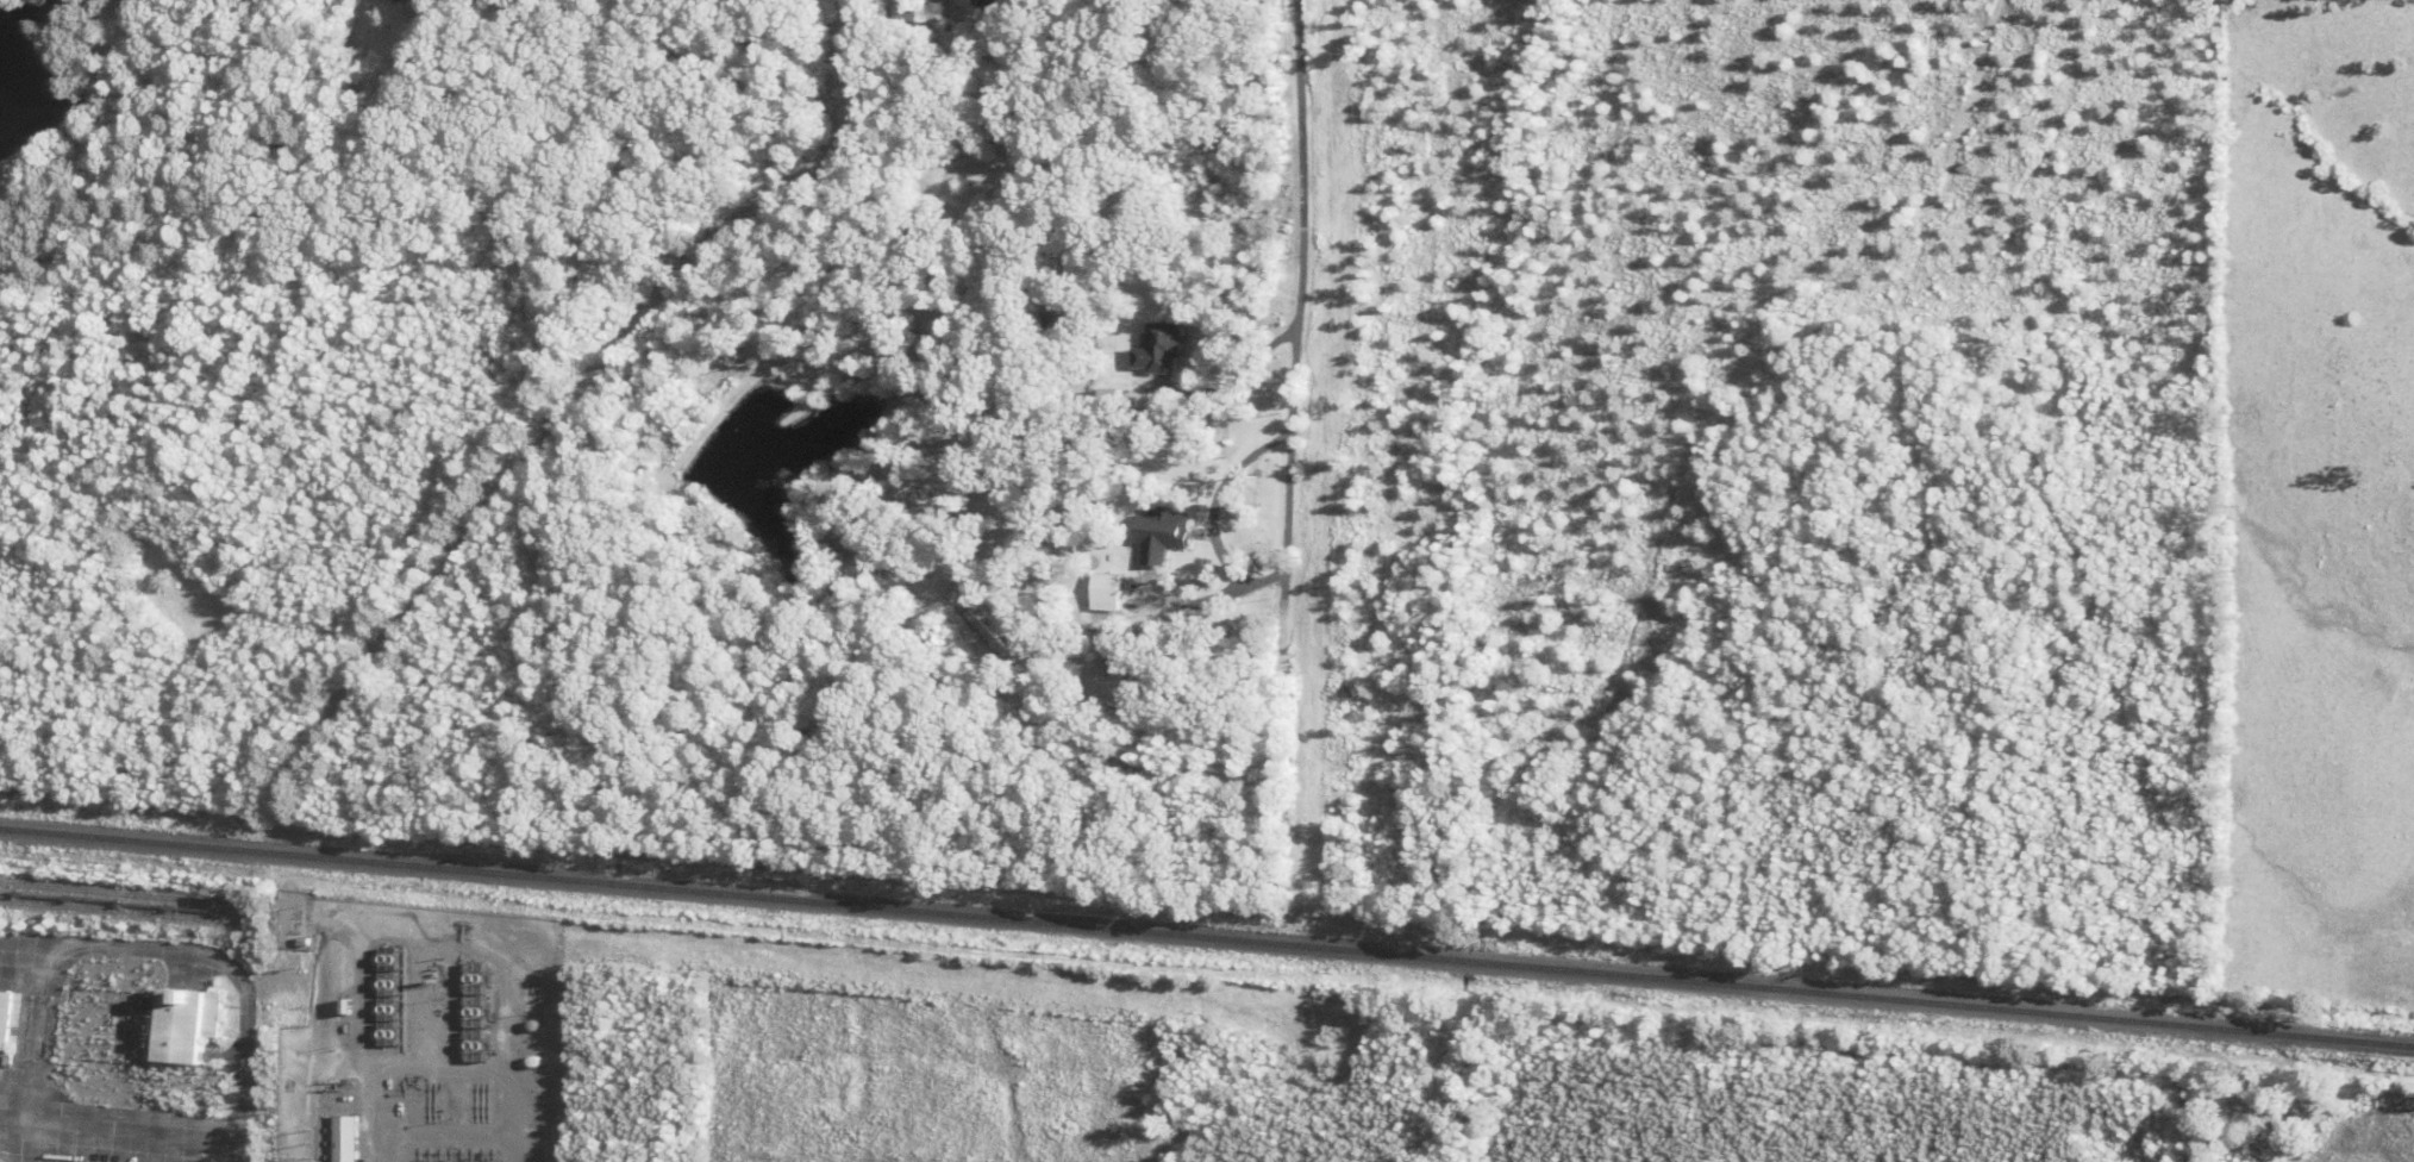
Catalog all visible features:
building: (913, 10)
road: (1297, 299)
building: (1163, 346)
building: (1167, 532)
building: (1109, 591)
railway: (123, 893)
railway: (121, 910)
railway: (1207, 933)
building: (394, 982)
building: (5, 1017)
building: (189, 1024)
building: (350, 1138)

